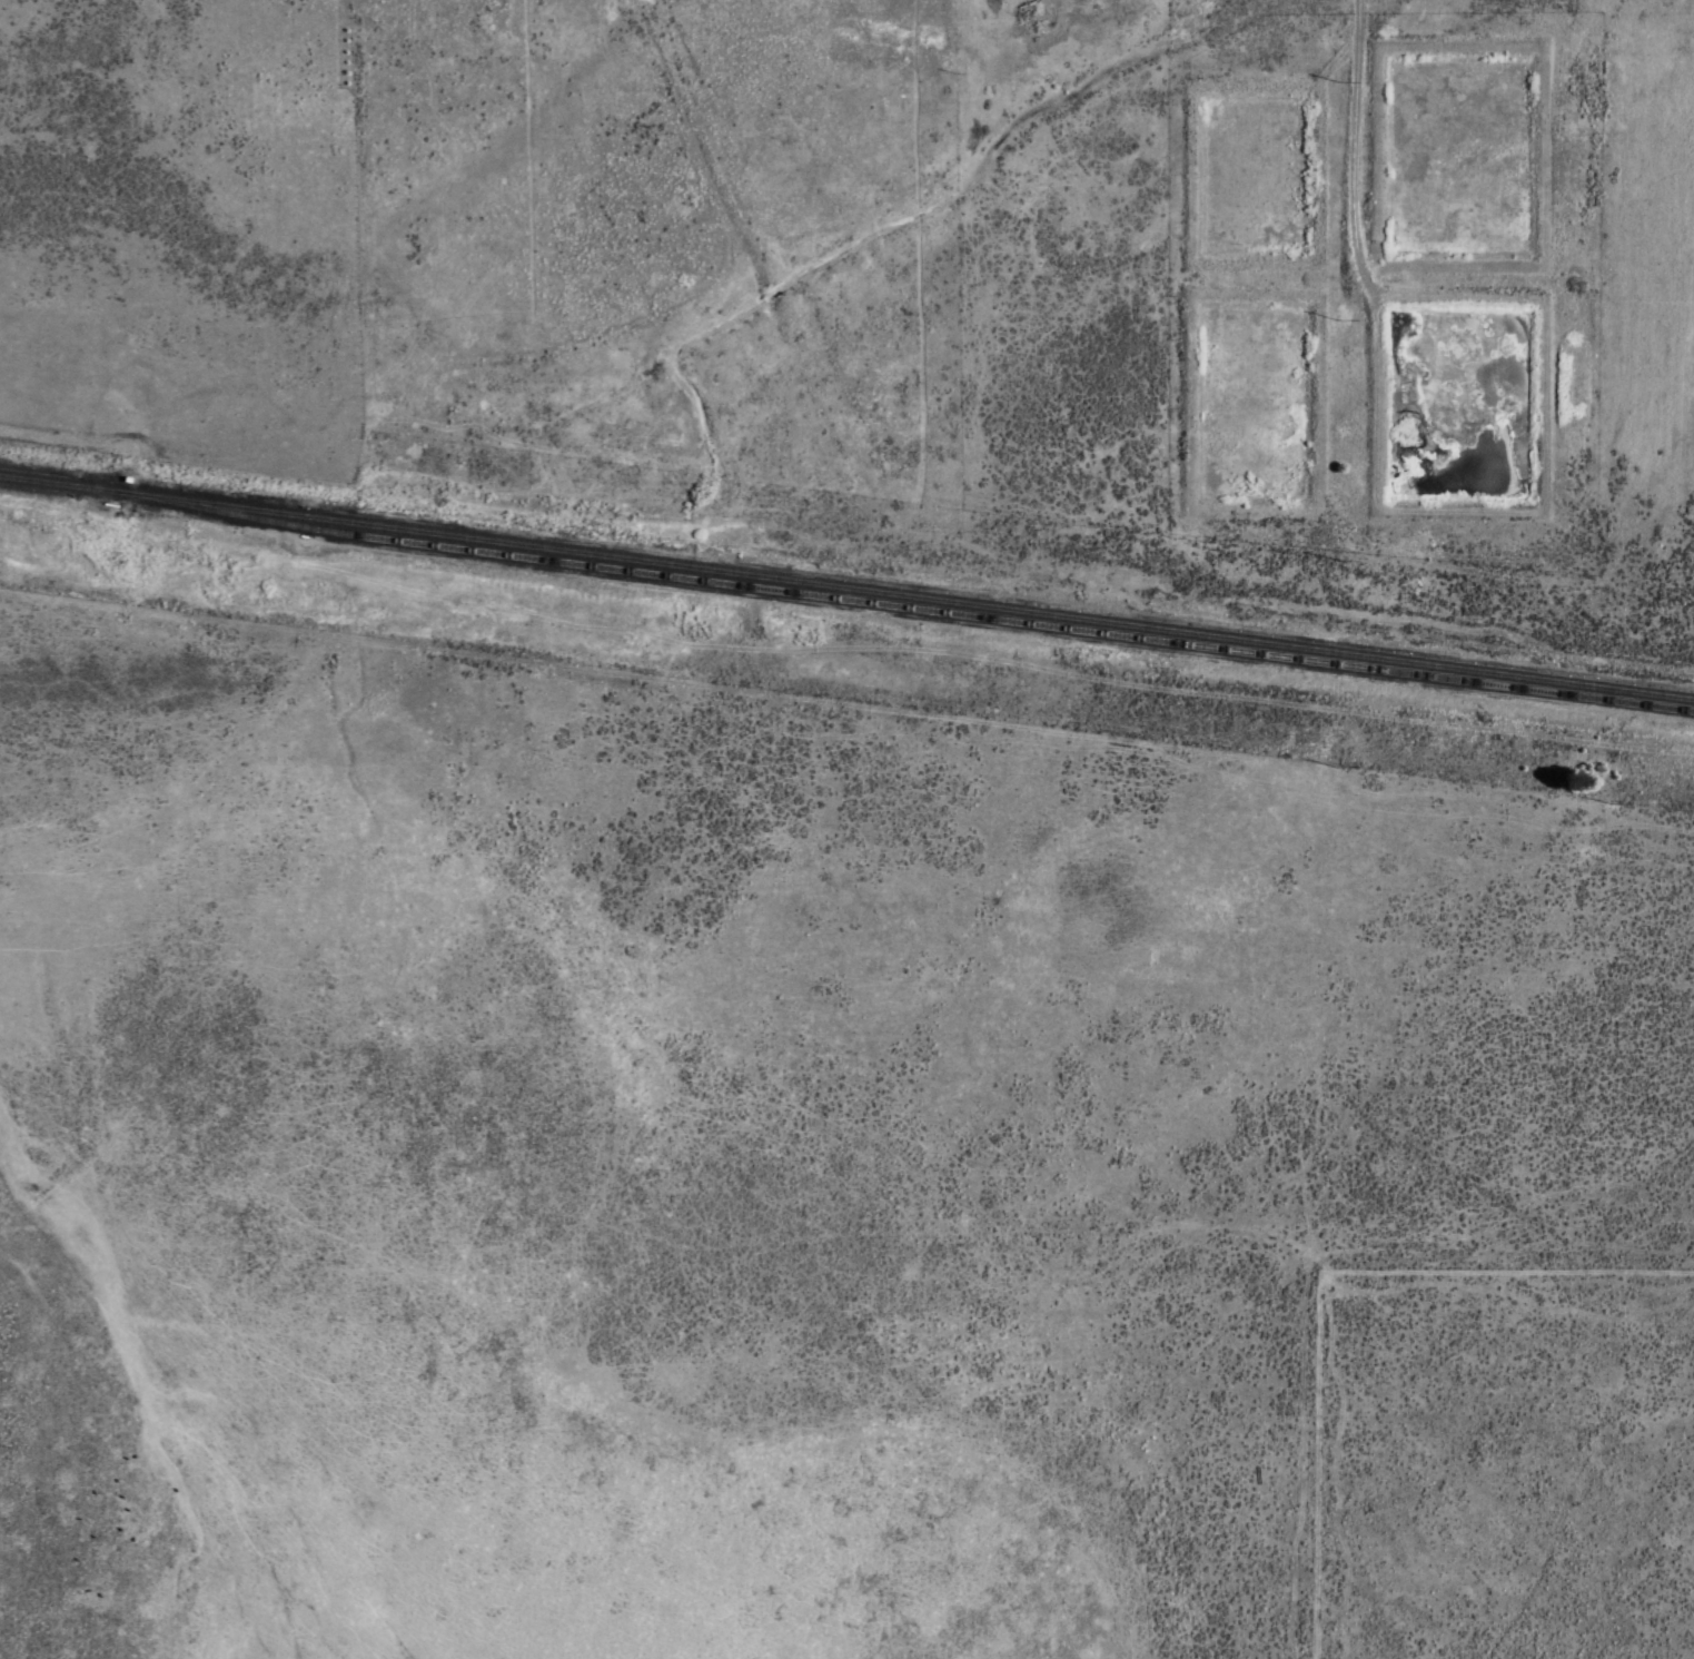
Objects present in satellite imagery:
road: (713, 40)
railway: (56, 483)
railway: (903, 594)
railway: (901, 606)
crop: (818, 1129)

